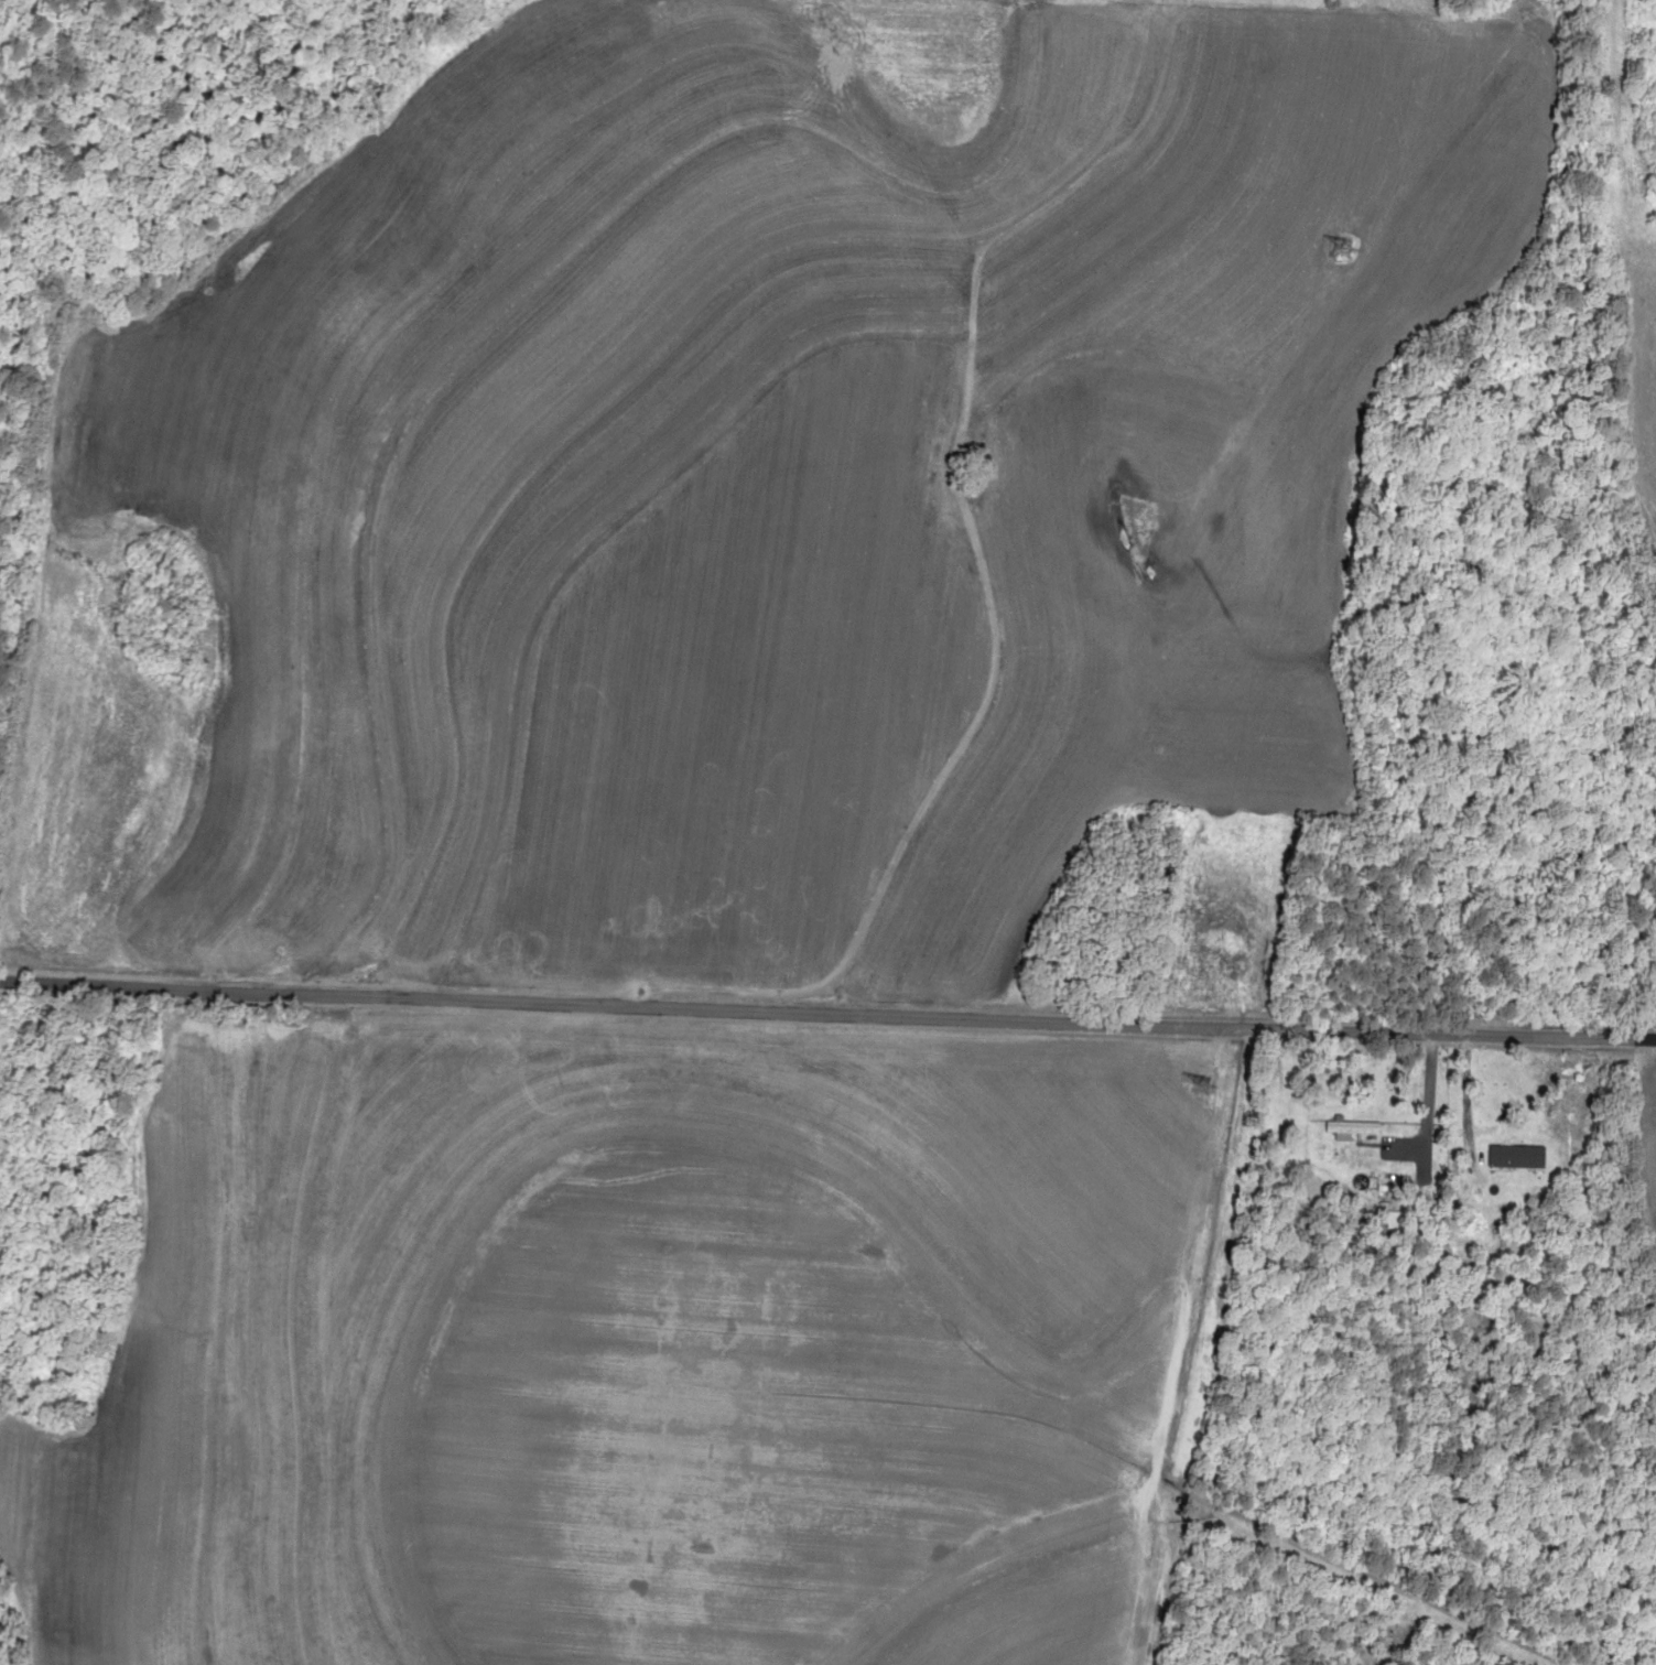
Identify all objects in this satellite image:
power tower: (1375, 62)
road: (827, 1039)
power tower: (1204, 1052)
building: (1466, 1132)

